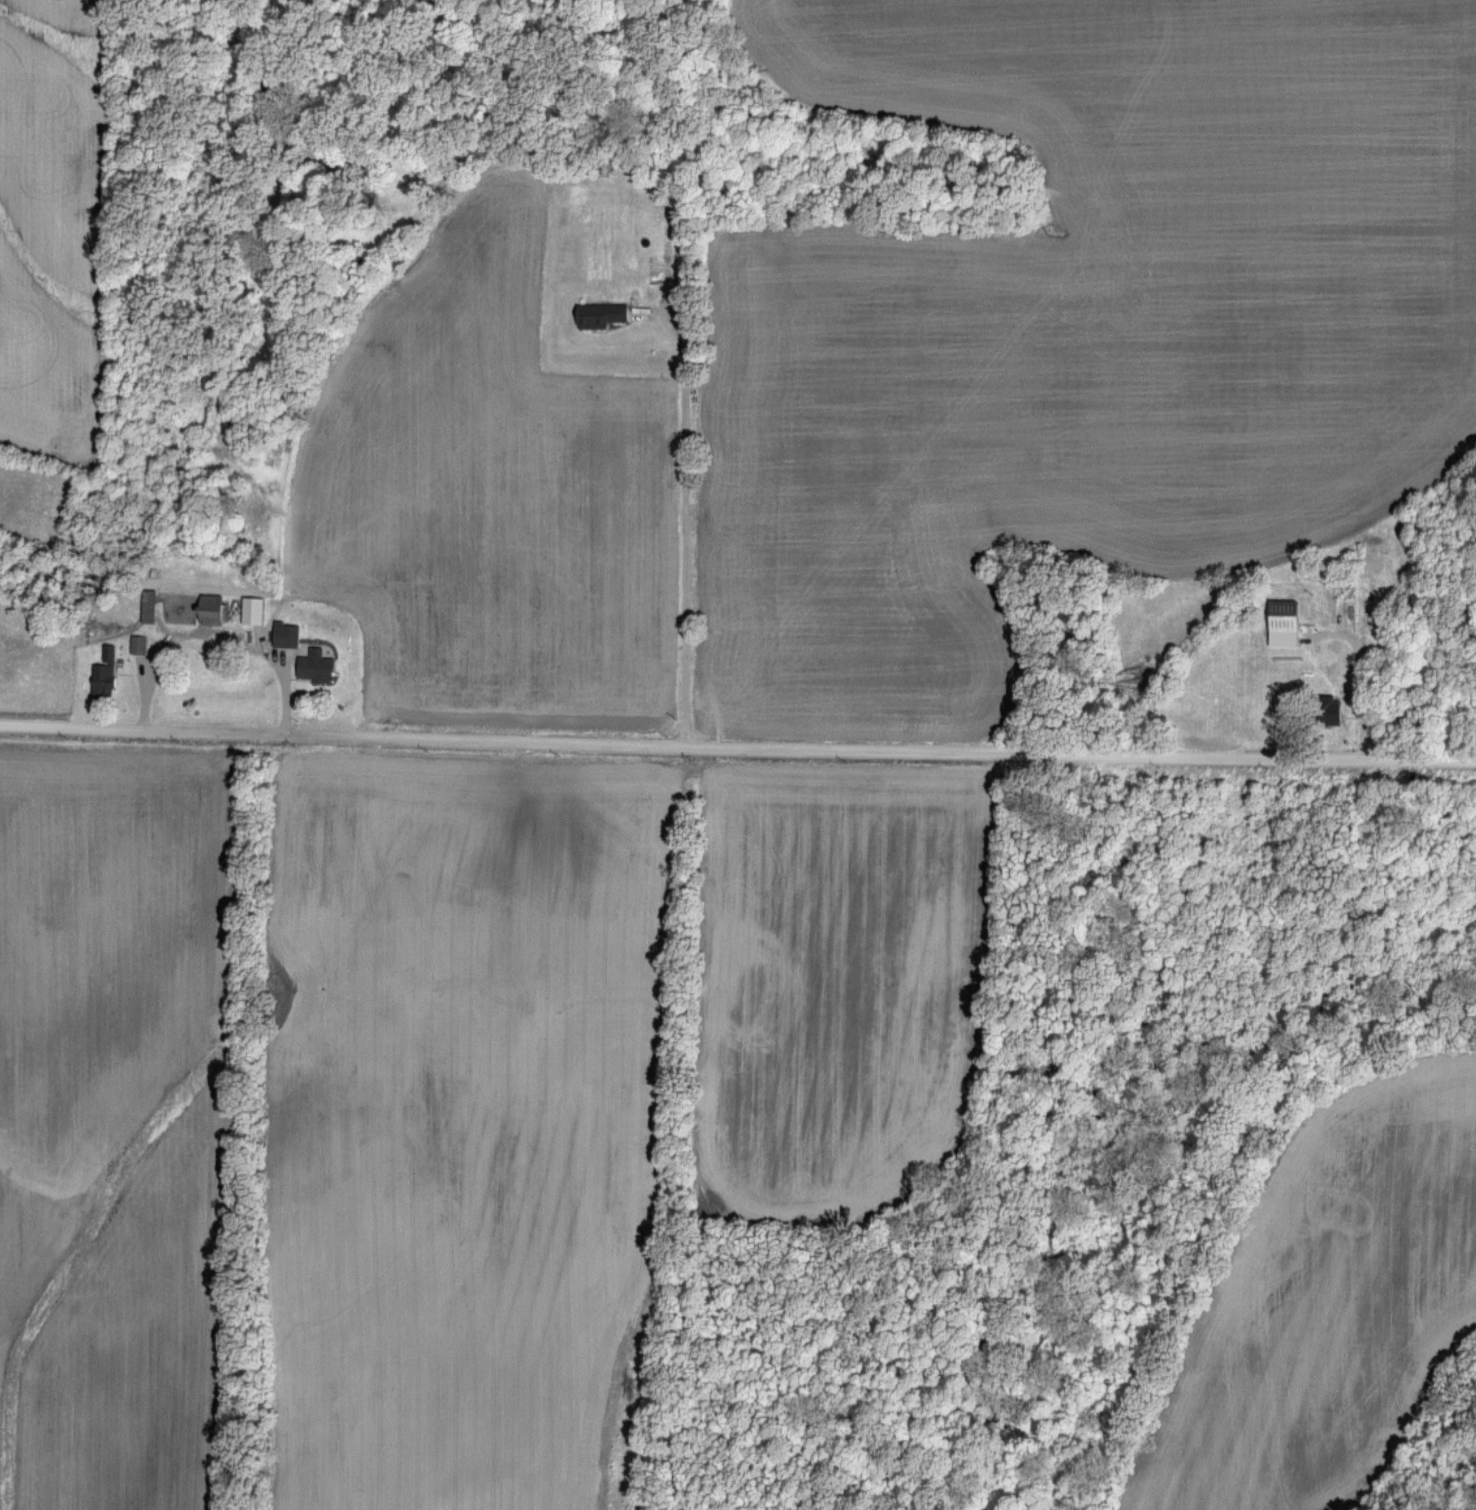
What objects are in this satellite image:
building: (603, 314)
road: (687, 528)
building: (211, 609)
building: (253, 611)
building: (1285, 622)
building: (286, 634)
building: (317, 667)
road: (1371, 675)
building: (1331, 709)
road: (737, 748)

